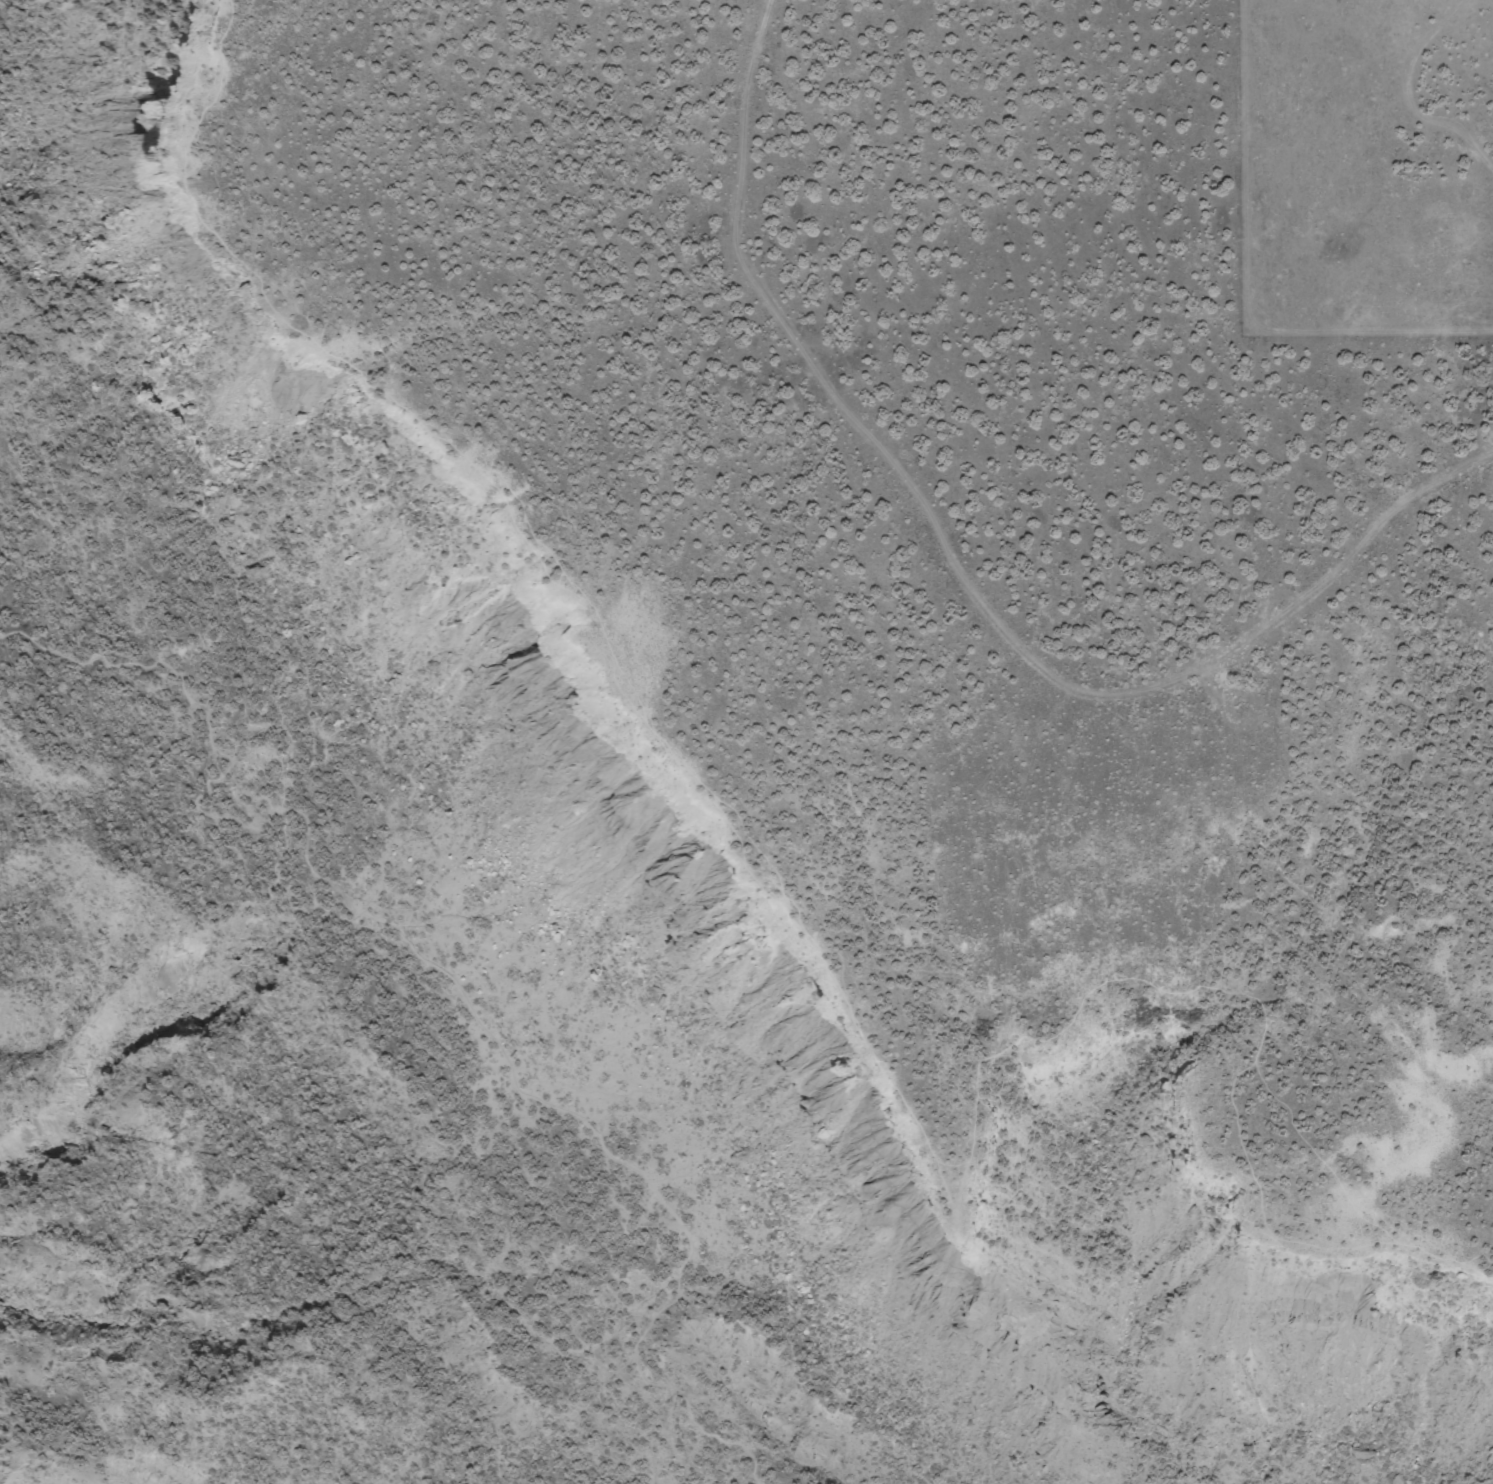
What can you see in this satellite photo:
road: (966, 576)
road: (1012, 832)
road: (817, 936)
road: (454, 979)

